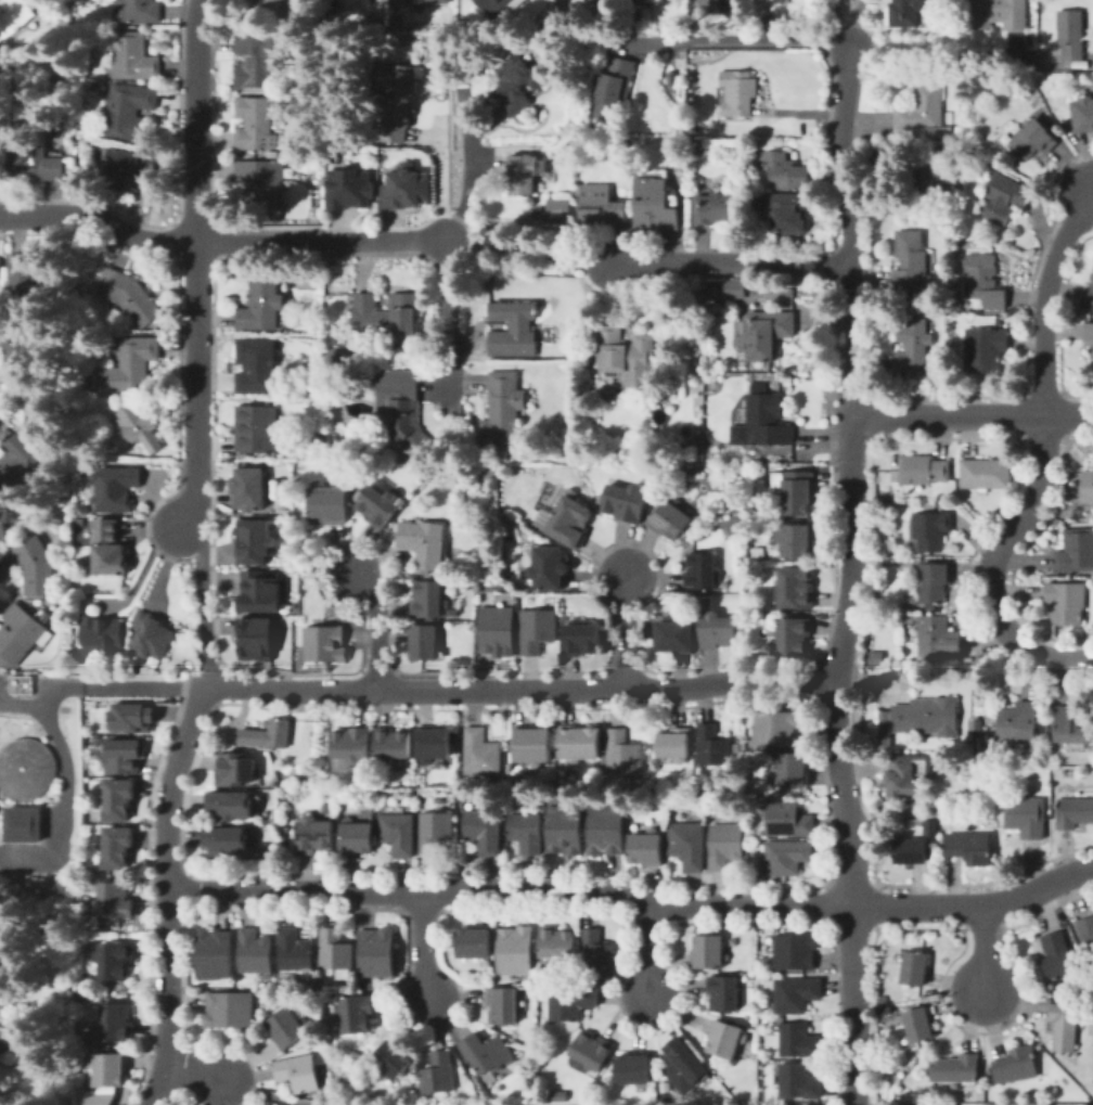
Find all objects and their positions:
building: (720, 0)
building: (422, 1)
building: (711, 1)
building: (270, 4)
building: (499, 5)
building: (138, 11)
building: (909, 11)
building: (1001, 13)
building: (13, 16)
road: (854, 18)
road: (835, 20)
building: (394, 22)
building: (1070, 34)
road: (744, 39)
road: (941, 46)
building: (741, 54)
building: (133, 57)
building: (258, 61)
building: (518, 83)
building: (615, 85)
building: (737, 93)
building: (396, 101)
building: (129, 112)
building: (925, 112)
building: (1082, 115)
building: (256, 126)
building: (1032, 140)
building: (37, 166)
building: (129, 168)
building: (787, 171)
building: (523, 174)
building: (925, 175)
building: (262, 183)
building: (410, 189)
building: (352, 190)
road: (465, 193)
building: (1005, 198)
building: (600, 205)
building: (654, 205)
building: (560, 208)
building: (715, 208)
building: (788, 208)
road: (222, 242)
road: (529, 250)
building: (911, 259)
road: (731, 261)
road: (194, 266)
building: (28, 280)
building: (982, 281)
building: (735, 290)
building: (131, 296)
road: (1044, 297)
building: (1091, 297)
building: (262, 306)
building: (385, 314)
road: (452, 319)
building: (1000, 321)
building: (513, 330)
building: (1088, 332)
building: (767, 334)
building: (22, 347)
building: (914, 348)
building: (986, 349)
building: (1091, 350)
building: (337, 354)
building: (627, 357)
building: (130, 367)
building: (257, 368)
building: (38, 404)
building: (401, 408)
building: (503, 409)
road: (973, 415)
building: (763, 419)
building: (141, 427)
building: (256, 428)
building: (646, 455)
building: (25, 461)
building: (452, 466)
building: (760, 466)
building: (921, 470)
building: (986, 474)
building: (492, 484)
building: (1086, 486)
building: (114, 488)
building: (249, 489)
building: (795, 491)
building: (600, 500)
building: (625, 502)
building: (326, 504)
building: (376, 505)
building: (670, 519)
building: (566, 521)
building: (78, 522)
building: (3, 523)
building: (929, 530)
building: (254, 537)
building: (796, 540)
building: (423, 543)
building: (110, 549)
building: (1076, 551)
road: (993, 564)
building: (36, 567)
building: (549, 568)
building: (702, 571)
road: (852, 573)
building: (934, 582)
building: (258, 588)
building: (796, 588)
road: (202, 595)
building: (428, 600)
building: (1066, 603)
road: (378, 630)
building: (497, 630)
building: (537, 630)
building: (717, 631)
road: (631, 632)
building: (20, 633)
building: (255, 633)
building: (100, 634)
building: (152, 635)
building: (673, 637)
building: (793, 637)
building: (580, 639)
building: (938, 639)
building: (424, 643)
building: (323, 644)
road: (209, 678)
building: (20, 683)
road: (103, 689)
road: (519, 691)
building: (134, 717)
building: (922, 719)
building: (1018, 723)
building: (977, 725)
building: (1070, 728)
building: (776, 729)
building: (993, 731)
building: (269, 733)
building: (351, 744)
building: (433, 744)
building: (532, 744)
building: (579, 744)
building: (674, 744)
building: (393, 745)
building: (712, 746)
building: (744, 746)
building: (480, 753)
building: (622, 754)
building: (124, 756)
building: (25, 767)
building: (236, 769)
building: (793, 770)
building: (905, 778)
building: (118, 799)
building: (436, 800)
road: (67, 802)
building: (409, 804)
building: (231, 806)
building: (325, 807)
building: (1073, 812)
building: (1026, 817)
building: (788, 819)
building: (22, 823)
building: (565, 830)
building: (605, 830)
building: (435, 831)
building: (484, 831)
building: (526, 833)
building: (398, 834)
building: (314, 835)
building: (356, 837)
building: (227, 840)
building: (689, 845)
building: (725, 845)
building: (117, 847)
building: (970, 848)
building: (646, 849)
building: (911, 851)
building: (785, 858)
road: (172, 894)
building: (115, 900)
road: (635, 902)
building: (1086, 935)
road: (421, 943)
building: (474, 943)
building: (556, 943)
building: (335, 950)
road: (981, 950)
building: (255, 951)
building: (295, 951)
building: (515, 951)
road: (648, 951)
building: (795, 951)
building: (376, 952)
building: (597, 952)
building: (709, 952)
building: (215, 954)
building: (9, 955)
building: (1056, 958)
building: (116, 961)
building: (915, 968)
building: (723, 993)
building: (796, 994)
building: (883, 999)
building: (571, 1002)
building: (503, 1005)
building: (884, 1008)
building: (230, 1010)
building: (356, 1015)
building: (117, 1023)
building: (918, 1026)
building: (1065, 1027)
building: (288, 1028)
building: (531, 1038)
building: (2, 1039)
building: (726, 1039)
building: (798, 1040)
road: (458, 1050)
building: (592, 1051)
building: (487, 1053)
building: (391, 1059)
building: (683, 1065)
building: (1016, 1065)
building: (633, 1069)
building: (955, 1069)
building: (111, 1070)
building: (299, 1072)
building: (439, 1074)
road: (195, 1076)
building: (799, 1082)
building: (899, 1088)
road: (266, 1094)
building: (100, 1098)

